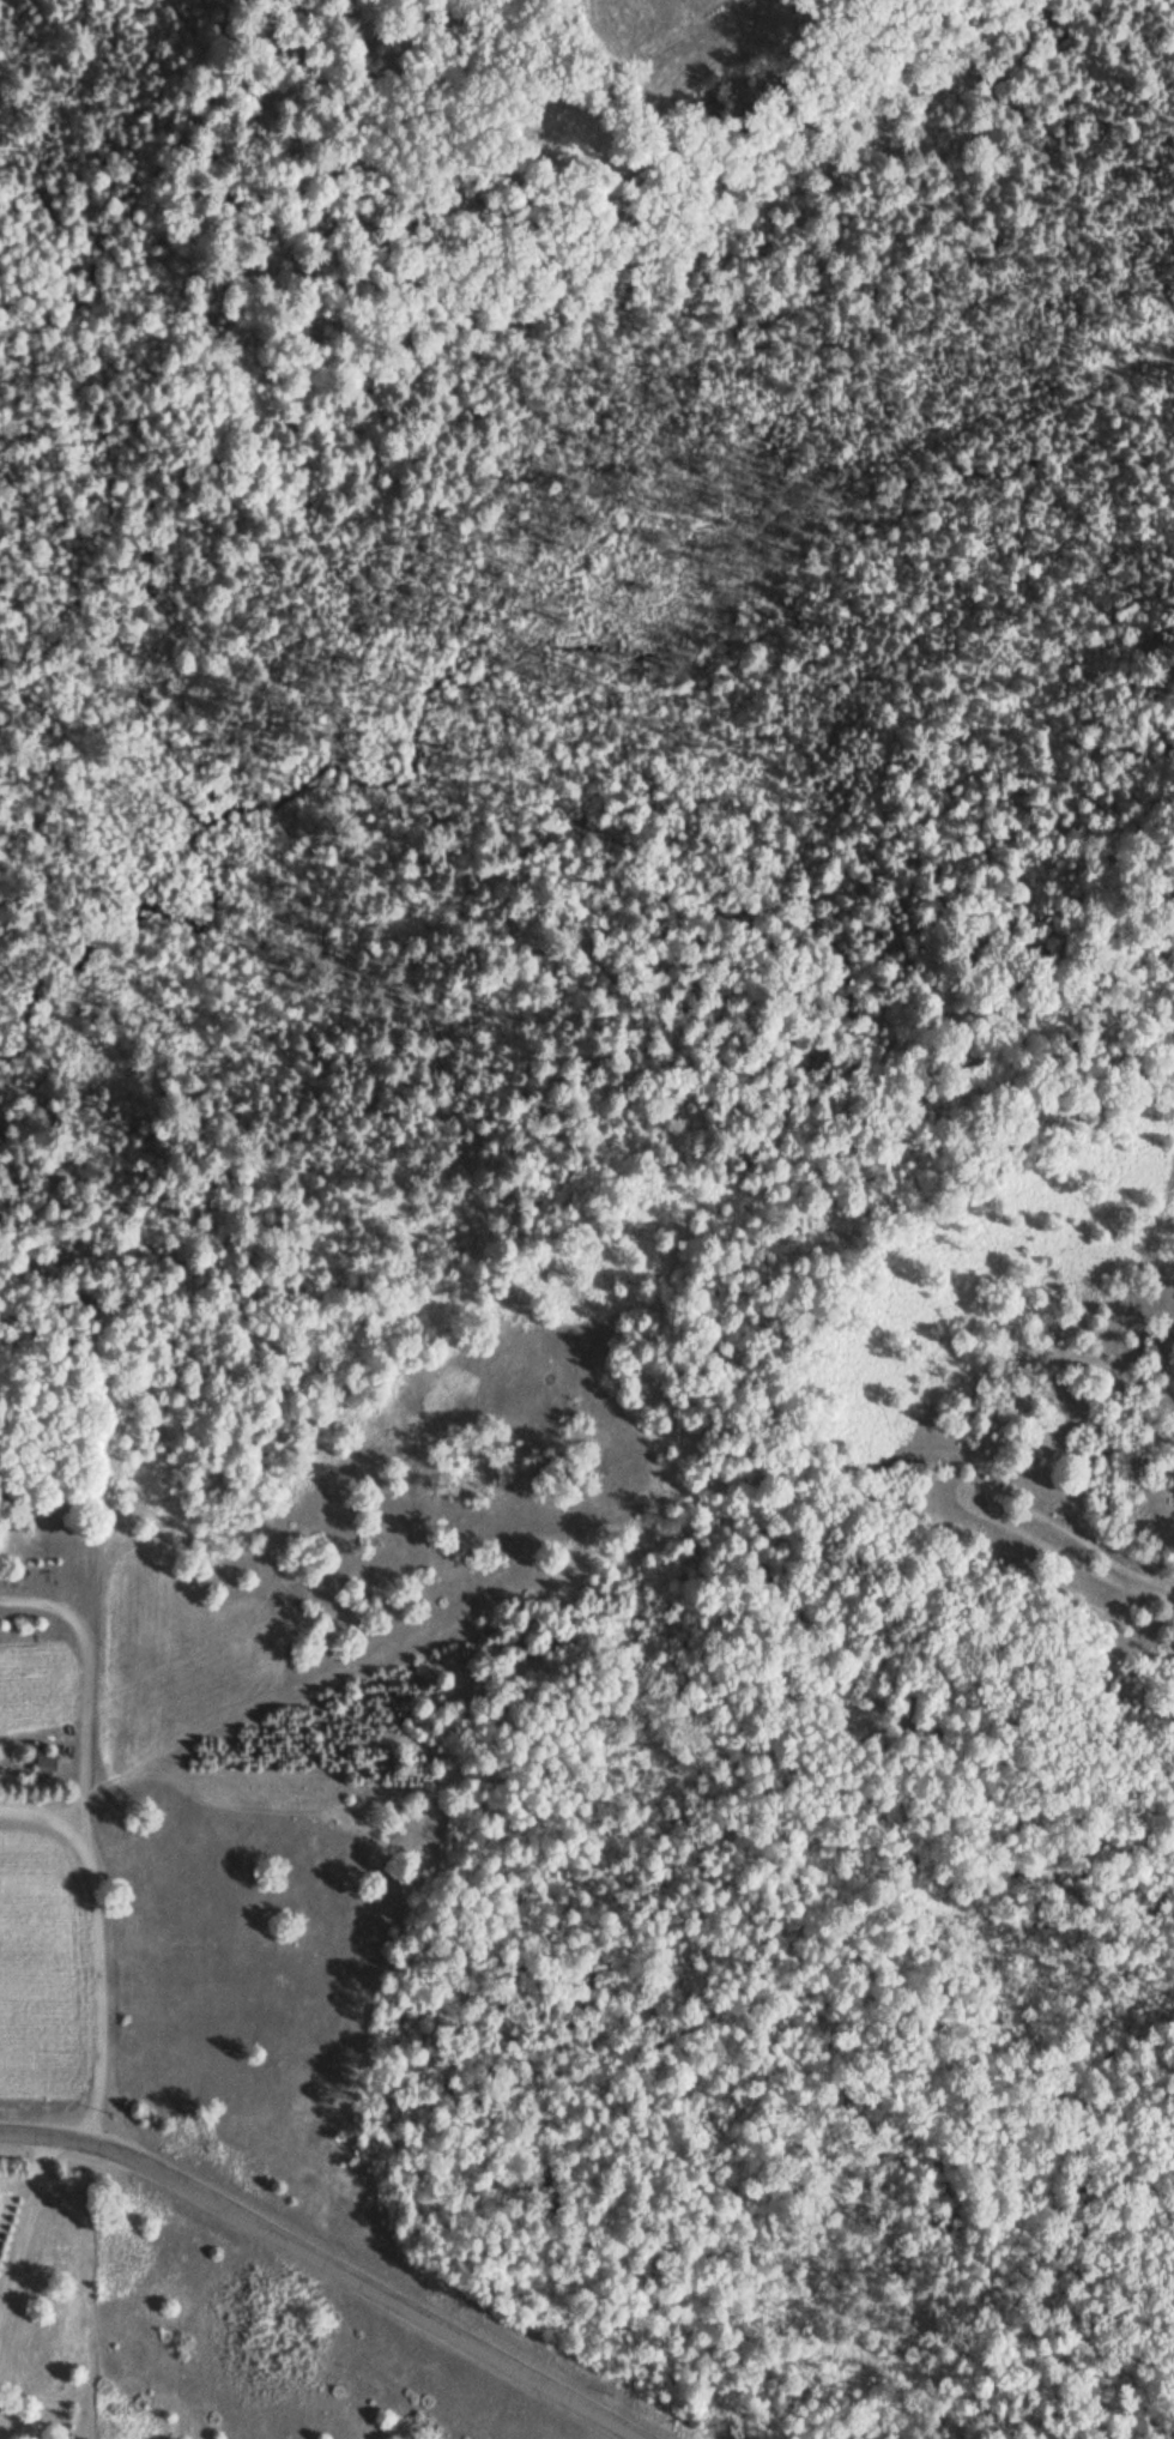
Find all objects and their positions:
river: (504, 559)
road: (77, 1676)
building: (52, 1763)
road: (97, 1936)
road: (333, 2262)

